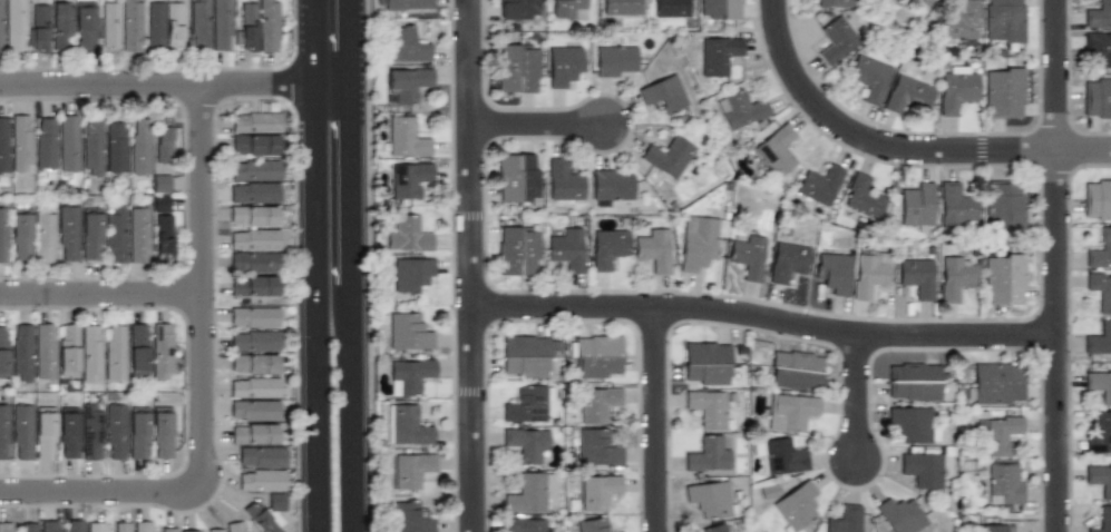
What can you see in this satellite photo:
building: (888, 2)
building: (834, 3)
building: (405, 4)
street lamp: (293, 7)
building: (622, 7)
building: (670, 8)
building: (518, 9)
building: (567, 10)
building: (720, 10)
building: (1098, 13)
building: (1003, 21)
building: (958, 23)
building: (109, 24)
building: (131, 24)
building: (155, 24)
building: (199, 24)
building: (221, 24)
building: (1, 26)
building: (16, 26)
building: (267, 26)
building: (61, 27)
building: (85, 27)
building: (174, 27)
building: (248, 27)
building: (40, 28)
building: (835, 40)
road: (331, 41)
building: (407, 43)
building: (1099, 47)
building: (718, 52)
building: (615, 58)
building: (564, 65)
street lamp: (99, 67)
building: (518, 68)
road: (1058, 75)
building: (868, 78)
building: (409, 83)
road: (165, 85)
building: (956, 91)
building: (1004, 91)
building: (663, 93)
building: (907, 95)
building: (1097, 98)
street lamp: (237, 102)
building: (740, 108)
building: (255, 122)
road: (538, 125)
building: (407, 136)
building: (20, 142)
building: (68, 142)
building: (3, 144)
building: (163, 144)
building: (254, 145)
building: (45, 146)
building: (91, 146)
building: (116, 146)
building: (139, 146)
road: (899, 149)
building: (777, 150)
building: (667, 155)
street lamp: (293, 157)
building: (255, 170)
building: (518, 177)
building: (410, 179)
building: (564, 179)
building: (819, 183)
building: (160, 184)
building: (613, 184)
building: (254, 191)
building: (863, 195)
street lamp: (186, 199)
building: (1098, 199)
building: (159, 203)
building: (917, 203)
building: (956, 204)
building: (1004, 205)
building: (253, 215)
building: (68, 233)
building: (90, 233)
building: (408, 233)
building: (3, 234)
building: (45, 234)
building: (115, 234)
building: (138, 234)
building: (21, 235)
building: (163, 237)
building: (254, 238)
building: (700, 240)
building: (607, 248)
building: (518, 249)
building: (566, 249)
building: (1101, 249)
building: (653, 250)
building: (748, 257)
building: (253, 262)
building: (788, 262)
road: (471, 266)
building: (834, 272)
building: (411, 273)
building: (871, 274)
street lamp: (130, 277)
building: (917, 277)
building: (955, 277)
building: (1004, 278)
building: (253, 286)
road: (204, 287)
building: (1100, 289)
road: (101, 294)
road: (363, 305)
street lamp: (222, 306)
road: (305, 306)
street lamp: (38, 313)
building: (254, 317)
road: (764, 317)
building: (409, 332)
building: (1099, 337)
street lamp: (295, 338)
building: (254, 341)
road: (1058, 341)
building: (68, 349)
building: (138, 349)
building: (45, 351)
building: (160, 351)
building: (3, 352)
building: (22, 352)
building: (115, 352)
building: (90, 353)
building: (596, 355)
building: (525, 356)
building: (253, 363)
building: (706, 363)
building: (796, 371)
building: (410, 375)
building: (913, 382)
building: (995, 383)
building: (1099, 385)
building: (253, 387)
street lamp: (186, 390)
road: (859, 398)
building: (598, 403)
building: (526, 404)
building: (708, 408)
building: (254, 410)
building: (790, 412)
road: (657, 420)
building: (910, 424)
building: (408, 425)
building: (91, 431)
building: (3, 432)
building: (21, 432)
building: (115, 432)
building: (162, 432)
building: (45, 433)
building: (68, 433)
building: (254, 433)
building: (1098, 433)
building: (1001, 434)
building: (138, 435)
building: (527, 443)
building: (597, 447)
building: (706, 454)
building: (780, 455)
building: (262, 456)
building: (922, 470)
building: (411, 471)
street lamp: (37, 475)
building: (1099, 480)
building: (1005, 484)
building: (265, 485)
road: (99, 492)
building: (528, 492)
building: (598, 492)
building: (711, 499)
building: (797, 504)
street lamp: (212, 508)
building: (902, 515)
street lamp: (298, 516)
building: (411, 516)
building: (844, 519)
building: (1103, 519)
building: (263, 522)
building: (524, 525)
building: (595, 525)
building: (7, 526)
building: (27, 526)
building: (50, 526)
building: (74, 526)
building: (97, 526)
building: (120, 526)
building: (143, 526)
building: (993, 528)
building: (237, 529)
building: (713, 529)
building: (167, 530)
building: (213, 530)
building: (189, 531)

